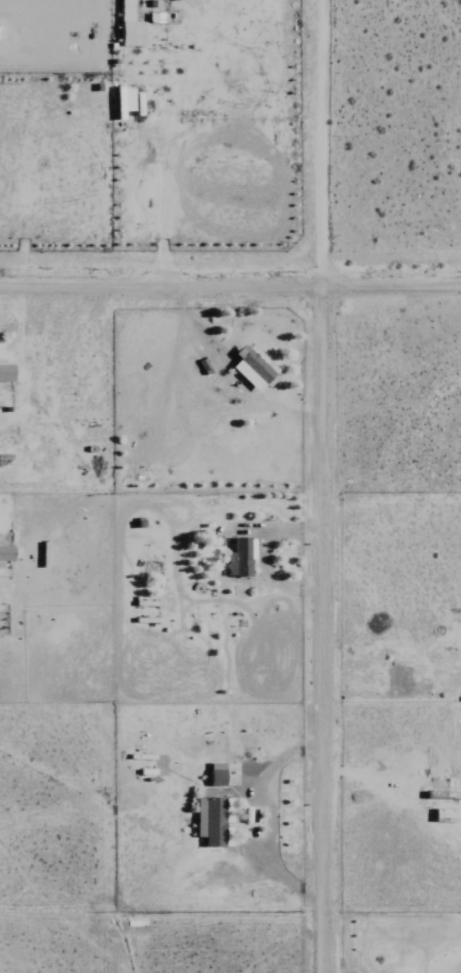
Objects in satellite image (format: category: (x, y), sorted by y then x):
road: (230, 284)
road: (351, 486)

